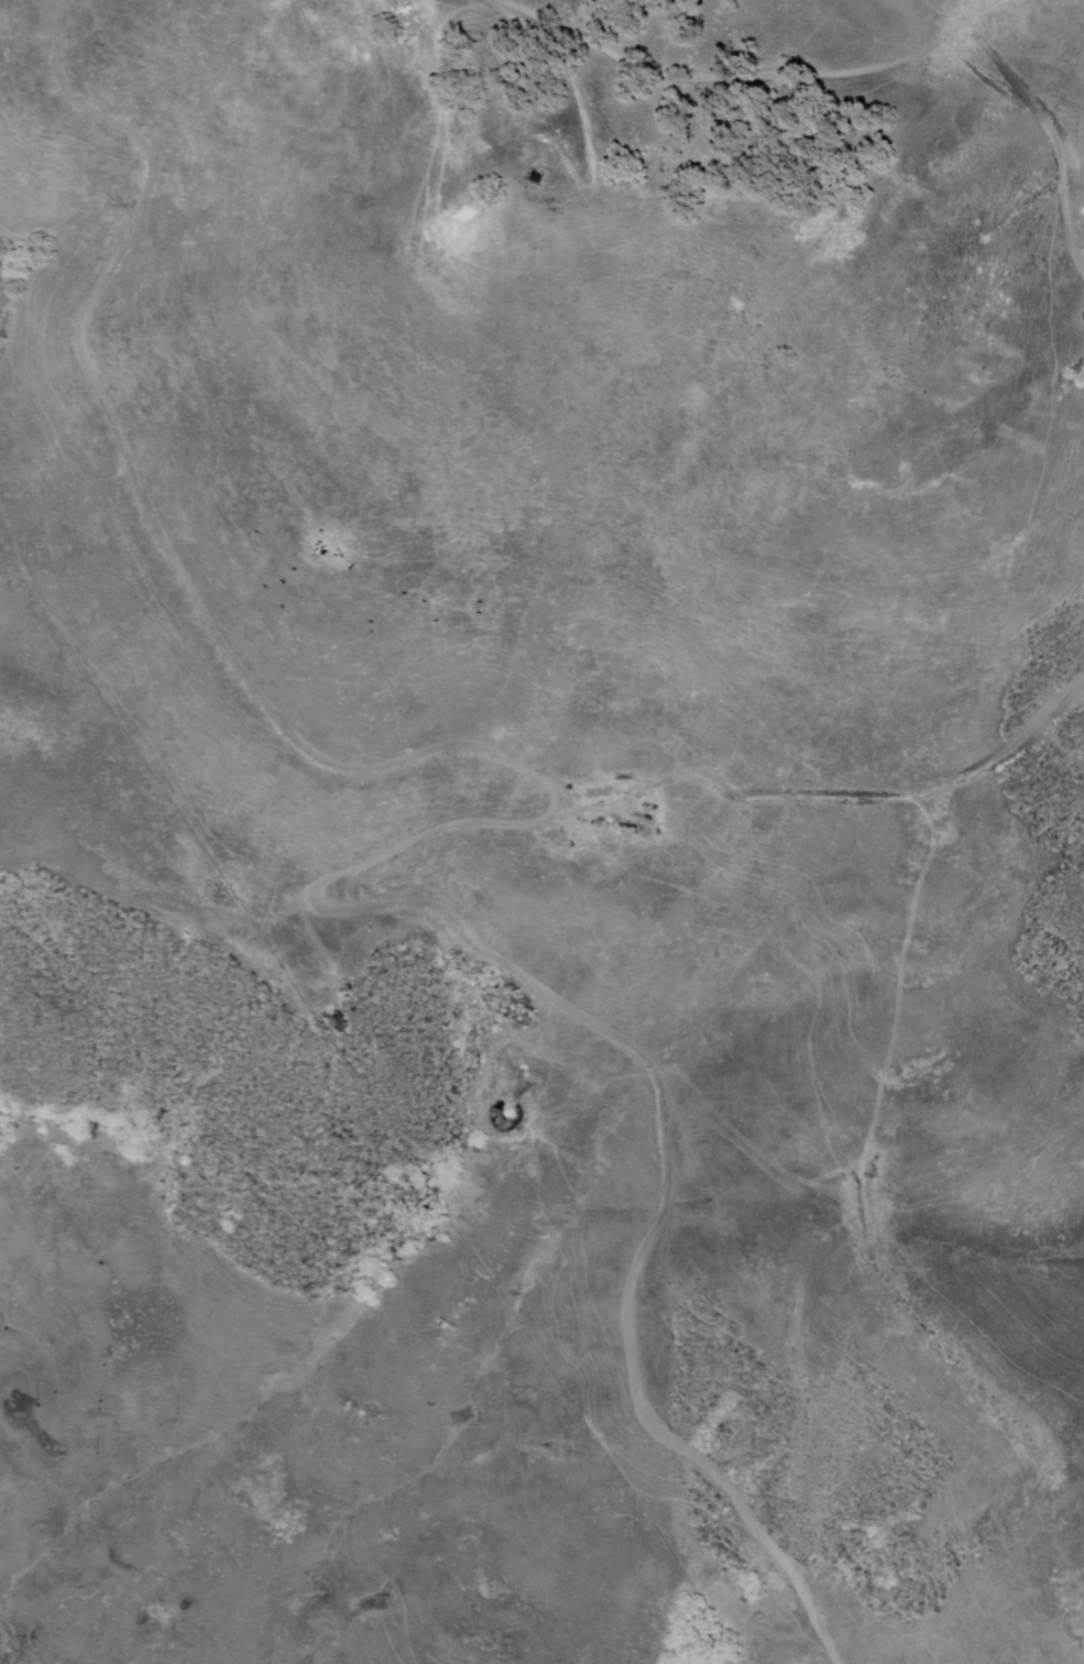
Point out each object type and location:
road: (960, 28)
road: (482, 824)

